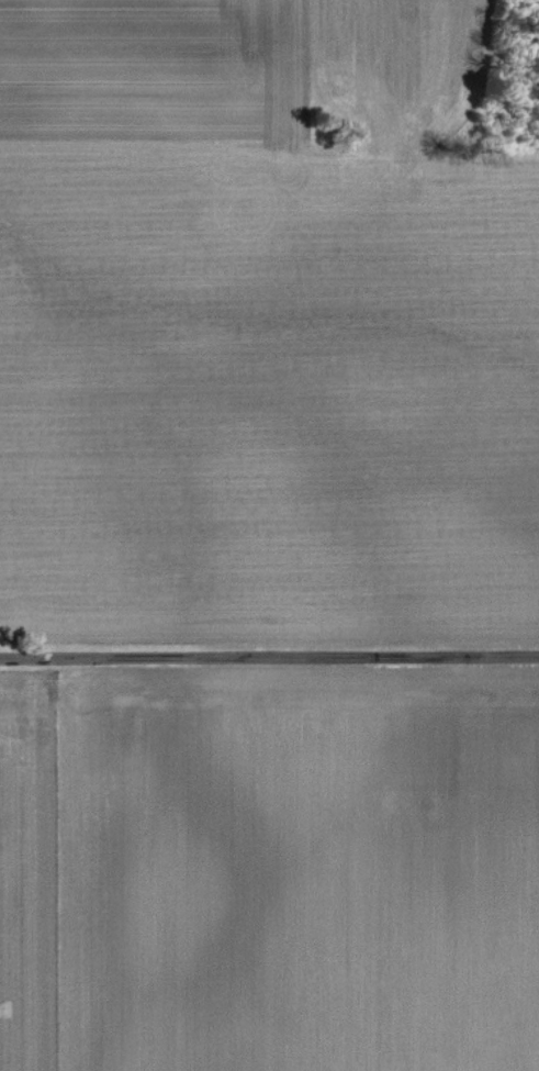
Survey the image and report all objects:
road: (269, 658)

